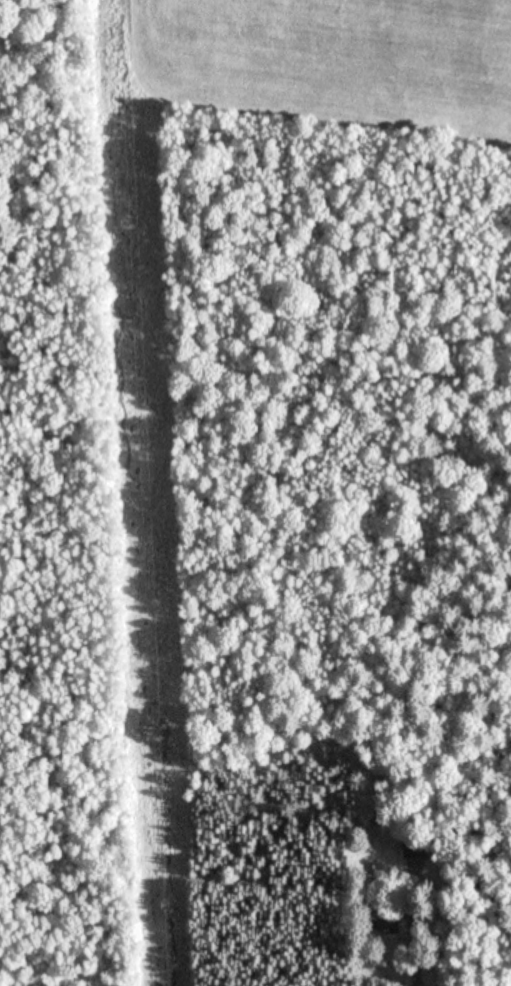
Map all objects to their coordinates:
building: (414, 848)
building: (381, 918)

